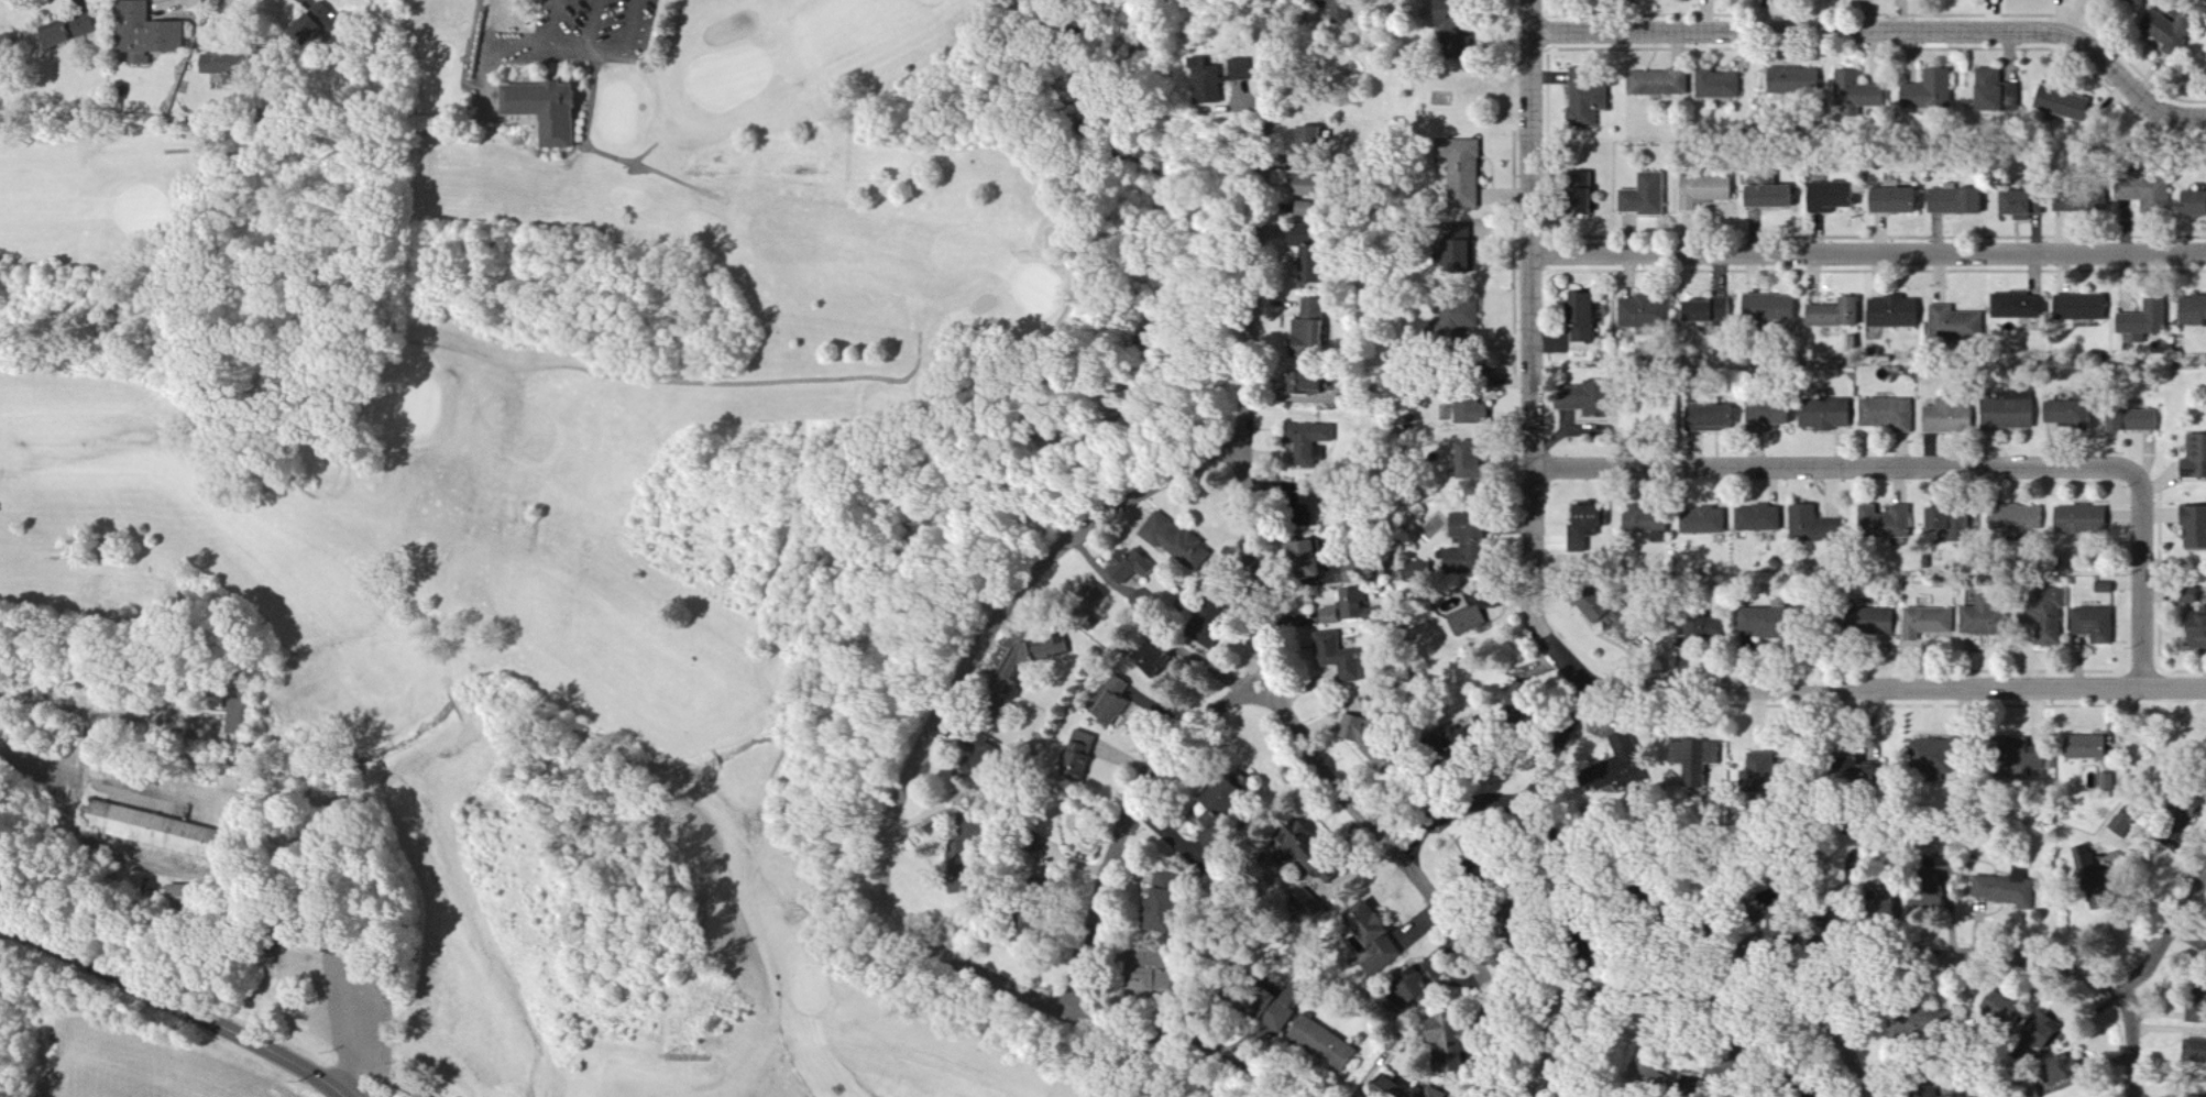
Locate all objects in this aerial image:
road: (593, 25)
building: (317, 28)
road: (1886, 28)
building: (77, 30)
building: (2163, 32)
building: (153, 33)
road: (550, 39)
road: (627, 47)
building: (11, 51)
building: (242, 64)
building: (1244, 69)
building: (1790, 80)
building: (1211, 83)
building: (1656, 84)
building: (1715, 85)
building: (1856, 91)
building: (1925, 92)
building: (1993, 92)
building: (2060, 103)
building: (1584, 106)
building: (552, 111)
building: (1317, 142)
building: (1459, 172)
building: (1319, 188)
building: (1702, 191)
building: (1578, 194)
building: (2142, 195)
building: (1643, 196)
building: (1766, 197)
building: (1829, 197)
building: (1891, 201)
building: (1952, 201)
building: (2010, 204)
building: (2075, 204)
building: (2191, 204)
building: (1305, 210)
building: (1457, 232)
building: (1311, 254)
road: (1872, 254)
building: (2017, 307)
building: (1766, 308)
building: (2076, 308)
building: (1704, 310)
building: (2191, 311)
building: (1643, 312)
building: (1890, 312)
building: (1831, 314)
building: (1457, 315)
building: (1578, 318)
building: (2142, 321)
building: (1954, 325)
building: (1314, 327)
building: (1497, 343)
road: (1537, 353)
building: (1317, 382)
building: (1577, 399)
building: (1468, 412)
building: (2005, 412)
building: (1766, 415)
building: (1822, 415)
building: (1885, 415)
building: (2064, 415)
building: (1708, 418)
building: (1946, 419)
building: (2128, 420)
building: (1314, 443)
building: (2194, 459)
road: (1945, 467)
road: (1240, 468)
building: (1466, 469)
park: (530, 473)
building: (1756, 518)
building: (2012, 518)
building: (1945, 519)
building: (1700, 520)
building: (2078, 520)
building: (1643, 523)
building: (1883, 523)
building: (1810, 524)
building: (1582, 525)
building: (2193, 528)
building: (1179, 541)
building: (1462, 548)
building: (1313, 553)
building: (1134, 567)
building: (1418, 573)
building: (1363, 574)
building: (2103, 588)
building: (2186, 596)
building: (1354, 610)
building: (2048, 618)
building: (1218, 621)
building: (1464, 621)
building: (1982, 621)
building: (1760, 622)
building: (1879, 622)
building: (1925, 623)
building: (2094, 625)
building: (1702, 628)
building: (2195, 632)
building: (1054, 649)
building: (1342, 657)
building: (1160, 659)
road: (1899, 689)
building: (1119, 702)
building: (1481, 732)
building: (1379, 743)
building: (2084, 746)
building: (1928, 753)
building: (985, 754)
building: (1628, 755)
building: (1694, 755)
building: (1084, 757)
building: (2022, 757)
road: (106, 771)
building: (1757, 771)
building: (2106, 781)
building: (1232, 798)
road: (1453, 809)
road: (1131, 821)
building: (2120, 823)
road: (1545, 826)
road: (887, 830)
building: (1215, 832)
building: (161, 833)
building: (965, 846)
building: (1317, 857)
building: (2085, 862)
building: (2006, 889)
building: (197, 896)
building: (1170, 902)
building: (1040, 922)
building: (1367, 930)
building: (1382, 957)
road: (1480, 973)
road: (2134, 981)
building: (1411, 985)
road: (1858, 991)
building: (1254, 1001)
road: (175, 1002)
building: (1998, 1006)
building: (1280, 1014)
building: (1933, 1020)
building: (1455, 1028)
building: (1440, 1032)
road: (1565, 1039)
building: (1320, 1042)
building: (2193, 1051)
road: (1837, 1054)
building: (2050, 1071)
building: (1383, 1087)
building: (1435, 1093)
building: (2029, 1093)
building: (425, 1095)

